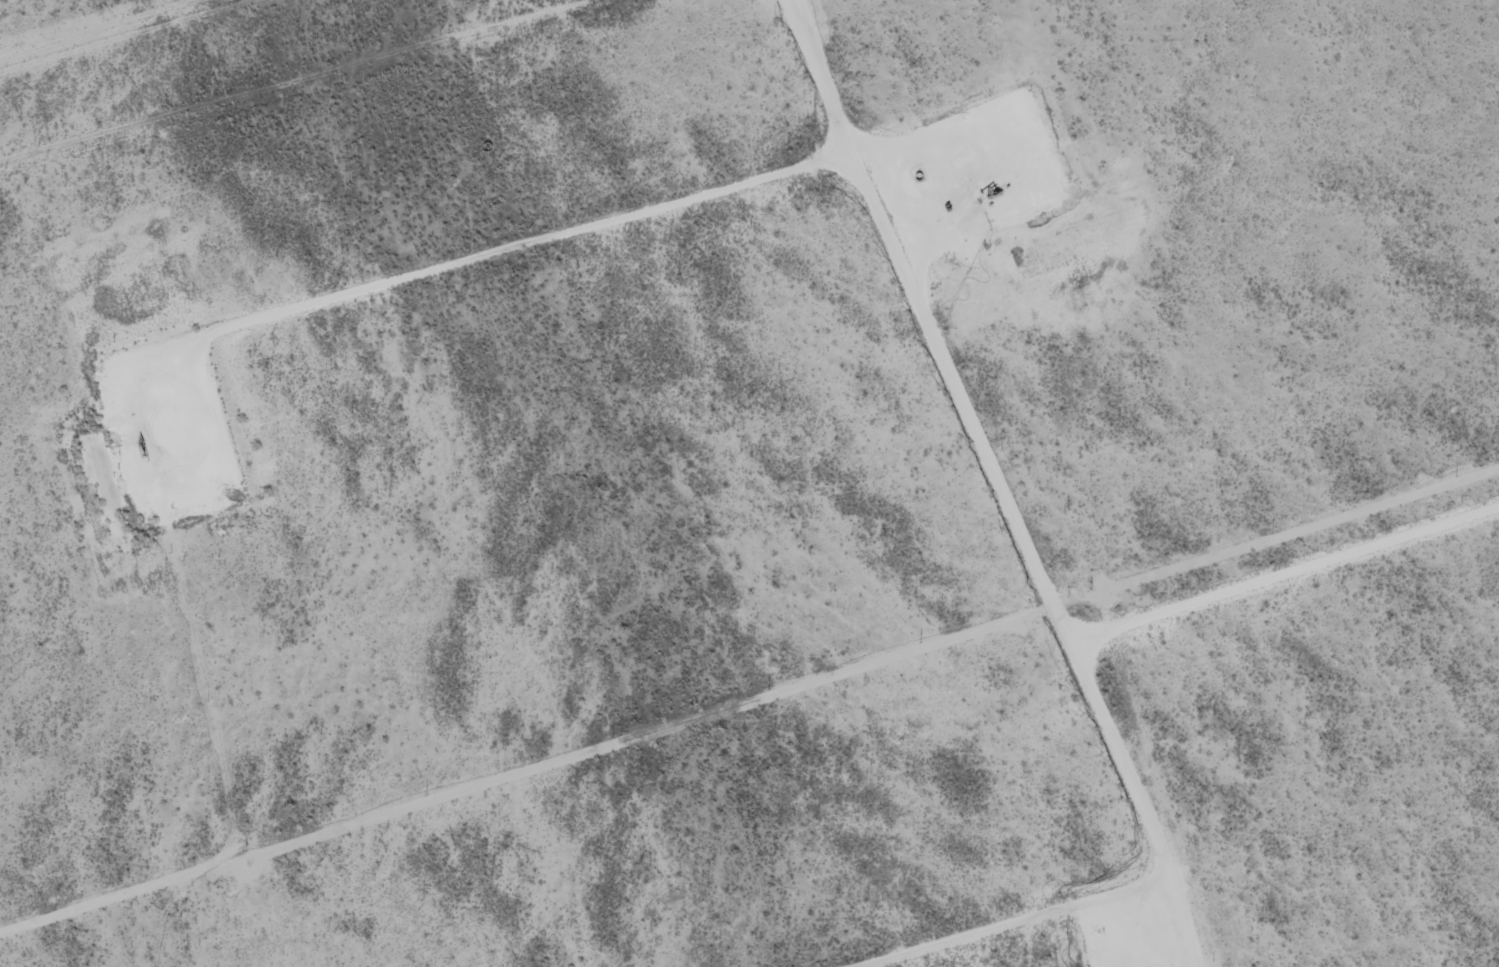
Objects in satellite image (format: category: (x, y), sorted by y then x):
petroleum well: (989, 196)
road: (477, 253)
petroleum well: (137, 448)
road: (998, 479)
road: (1285, 576)
road: (1036, 927)

